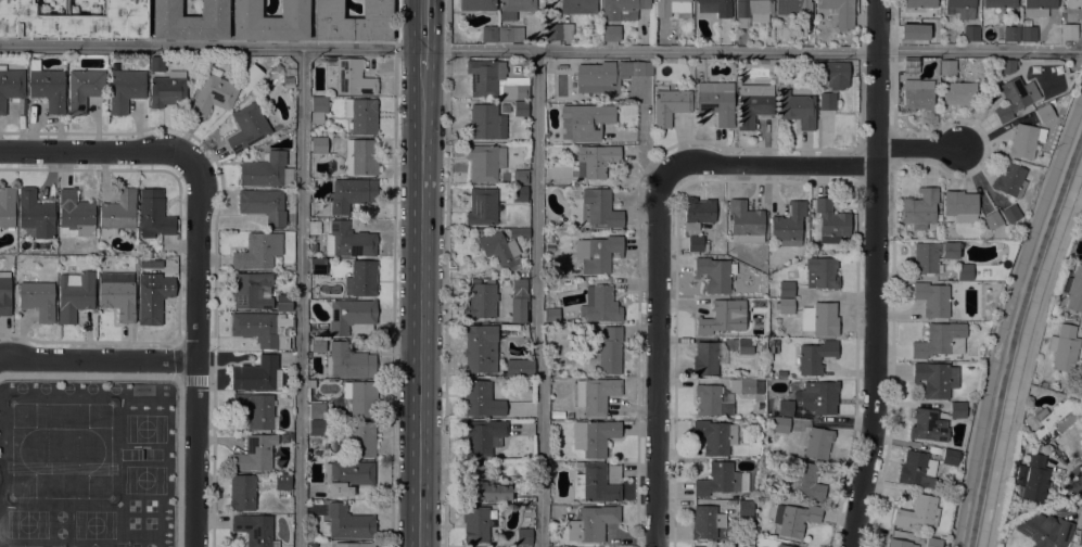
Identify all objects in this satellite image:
building: (1000, 3)
building: (478, 4)
building: (918, 5)
building: (578, 7)
building: (670, 7)
building: (715, 7)
building: (1038, 7)
building: (514, 8)
building: (794, 8)
building: (960, 8)
building: (622, 9)
building: (1072, 10)
building: (751, 11)
building: (840, 12)
building: (74, 21)
building: (190, 21)
building: (270, 21)
building: (353, 21)
building: (559, 30)
building: (1028, 31)
building: (1068, 31)
building: (510, 33)
building: (610, 33)
building: (971, 33)
building: (1010, 33)
road: (423, 34)
building: (489, 34)
building: (911, 35)
road: (540, 50)
building: (240, 61)
building: (34, 62)
building: (157, 64)
building: (911, 65)
building: (562, 66)
building: (1006, 66)
building: (833, 74)
building: (609, 75)
building: (251, 77)
building: (353, 78)
building: (495, 80)
building: (10, 85)
building: (956, 87)
building: (48, 88)
building: (84, 89)
building: (125, 89)
building: (167, 90)
building: (213, 94)
building: (917, 94)
building: (1015, 97)
building: (827, 100)
building: (716, 101)
building: (753, 103)
building: (319, 105)
building: (670, 105)
building: (520, 107)
building: (797, 109)
building: (1044, 113)
building: (361, 114)
building: (585, 120)
building: (485, 122)
building: (247, 127)
building: (1022, 141)
building: (319, 145)
road: (917, 147)
road: (101, 152)
building: (360, 157)
building: (595, 160)
building: (485, 162)
road: (768, 165)
building: (266, 170)
building: (520, 177)
building: (1009, 179)
building: (351, 193)
building: (520, 193)
building: (264, 204)
building: (960, 205)
building: (7, 206)
building: (482, 206)
building: (920, 206)
building: (600, 209)
building: (697, 212)
building: (117, 213)
building: (1010, 213)
building: (36, 214)
building: (75, 214)
building: (154, 214)
building: (991, 219)
building: (830, 221)
building: (744, 222)
building: (789, 225)
building: (478, 230)
building: (519, 233)
building: (348, 240)
building: (697, 243)
building: (550, 247)
building: (500, 250)
building: (258, 251)
building: (598, 253)
building: (932, 255)
building: (168, 259)
building: (318, 266)
building: (965, 271)
road: (395, 272)
road: (445, 272)
building: (822, 272)
building: (715, 273)
road: (874, 273)
building: (361, 278)
building: (1073, 288)
building: (787, 289)
building: (252, 290)
building: (771, 292)
building: (4, 293)
building: (117, 293)
building: (75, 294)
building: (37, 296)
building: (153, 296)
road: (301, 296)
road: (536, 298)
building: (932, 298)
building: (481, 300)
building: (519, 301)
building: (283, 302)
building: (600, 305)
building: (785, 305)
road: (421, 308)
building: (349, 315)
building: (551, 315)
building: (723, 317)
building: (824, 319)
building: (258, 327)
building: (940, 340)
building: (318, 345)
building: (971, 345)
building: (746, 346)
building: (774, 346)
building: (1062, 347)
building: (481, 348)
road: (198, 349)
building: (610, 349)
building: (709, 357)
building: (815, 357)
road: (99, 359)
road: (658, 360)
building: (348, 361)
road: (1027, 362)
building: (519, 367)
building: (781, 373)
building: (257, 374)
building: (935, 379)
building: (1043, 383)
building: (741, 385)
building: (281, 395)
building: (596, 395)
building: (360, 396)
building: (818, 397)
building: (710, 398)
building: (481, 399)
building: (786, 407)
building: (957, 408)
building: (256, 409)
building: (317, 410)
building: (1053, 421)
building: (781, 424)
building: (928, 425)
building: (317, 428)
building: (483, 436)
building: (596, 436)
building: (715, 436)
building: (283, 437)
building: (361, 438)
building: (815, 442)
building: (254, 453)
building: (950, 457)
building: (578, 466)
building: (916, 469)
building: (347, 475)
building: (1031, 478)
building: (265, 479)
building: (803, 479)
building: (717, 480)
building: (597, 483)
building: (282, 484)
building: (483, 484)
building: (242, 492)
building: (744, 511)
building: (917, 511)
building: (794, 519)
building: (705, 522)
building: (346, 523)
building: (593, 523)
building: (475, 524)
building: (255, 529)
building: (1044, 530)
building: (524, 536)
building: (1079, 536)
building: (310, 542)
building: (931, 543)
building: (553, 544)
building: (899, 544)
building: (354, 545)
building: (785, 545)
building: (697, 546)

